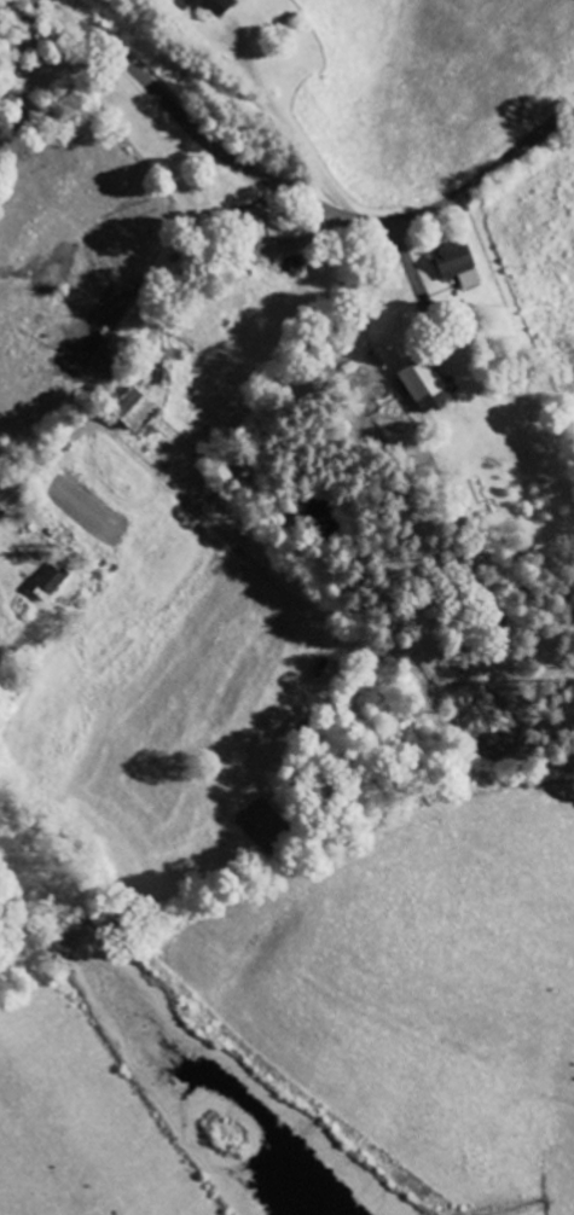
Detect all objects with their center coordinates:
building: (218, 7)
road: (291, 192)
building: (460, 267)
road: (141, 314)
building: (114, 345)
building: (428, 386)
building: (137, 409)
building: (53, 583)

